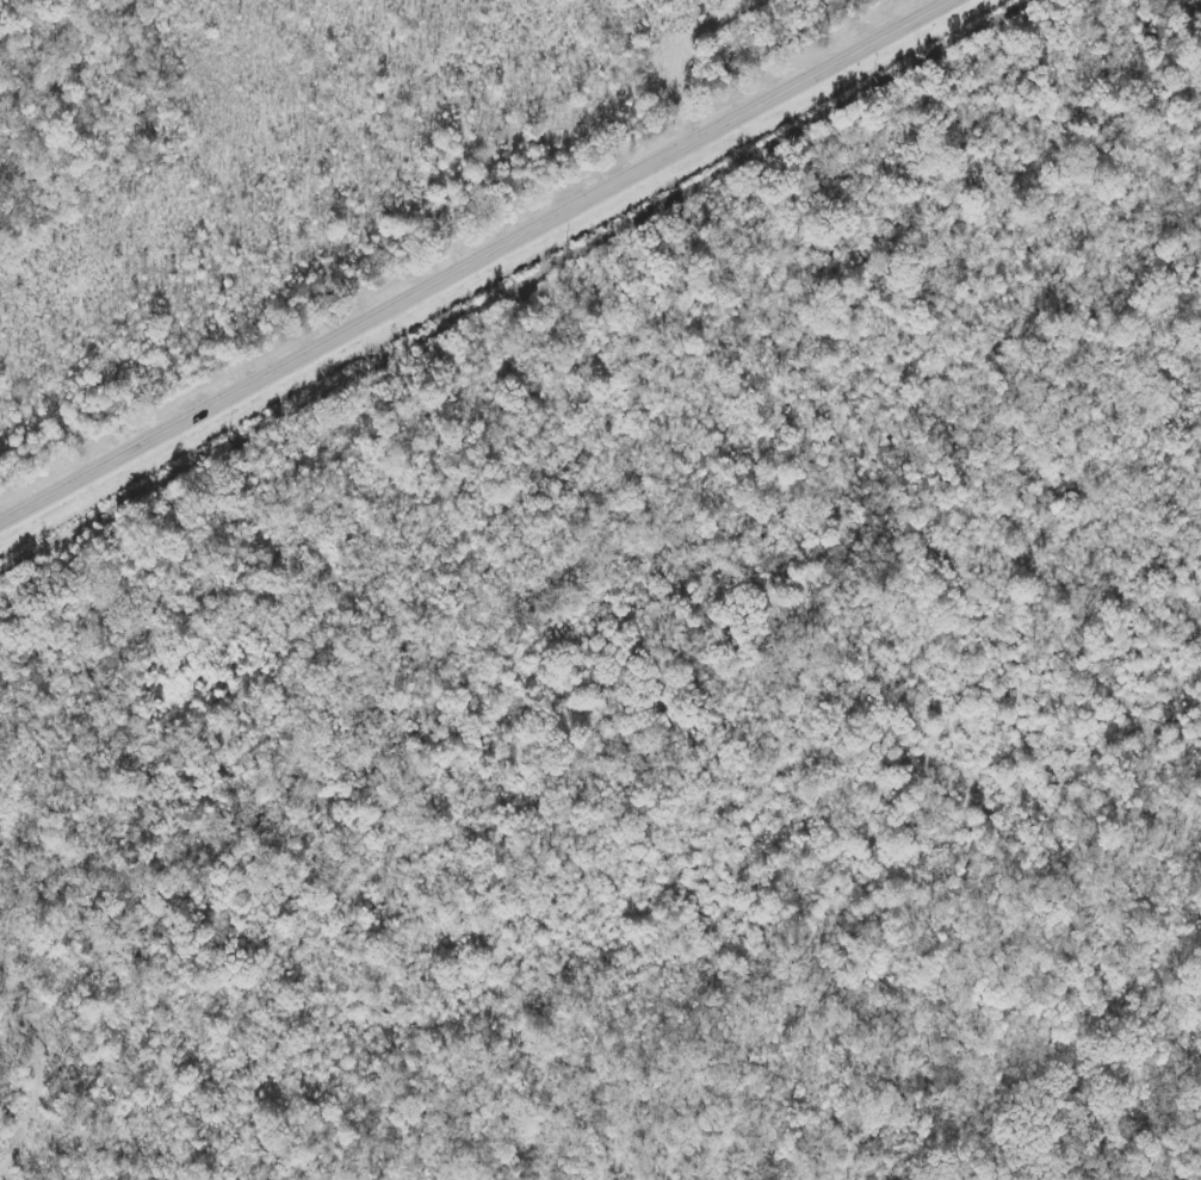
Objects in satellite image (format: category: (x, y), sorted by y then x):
road: (476, 265)

